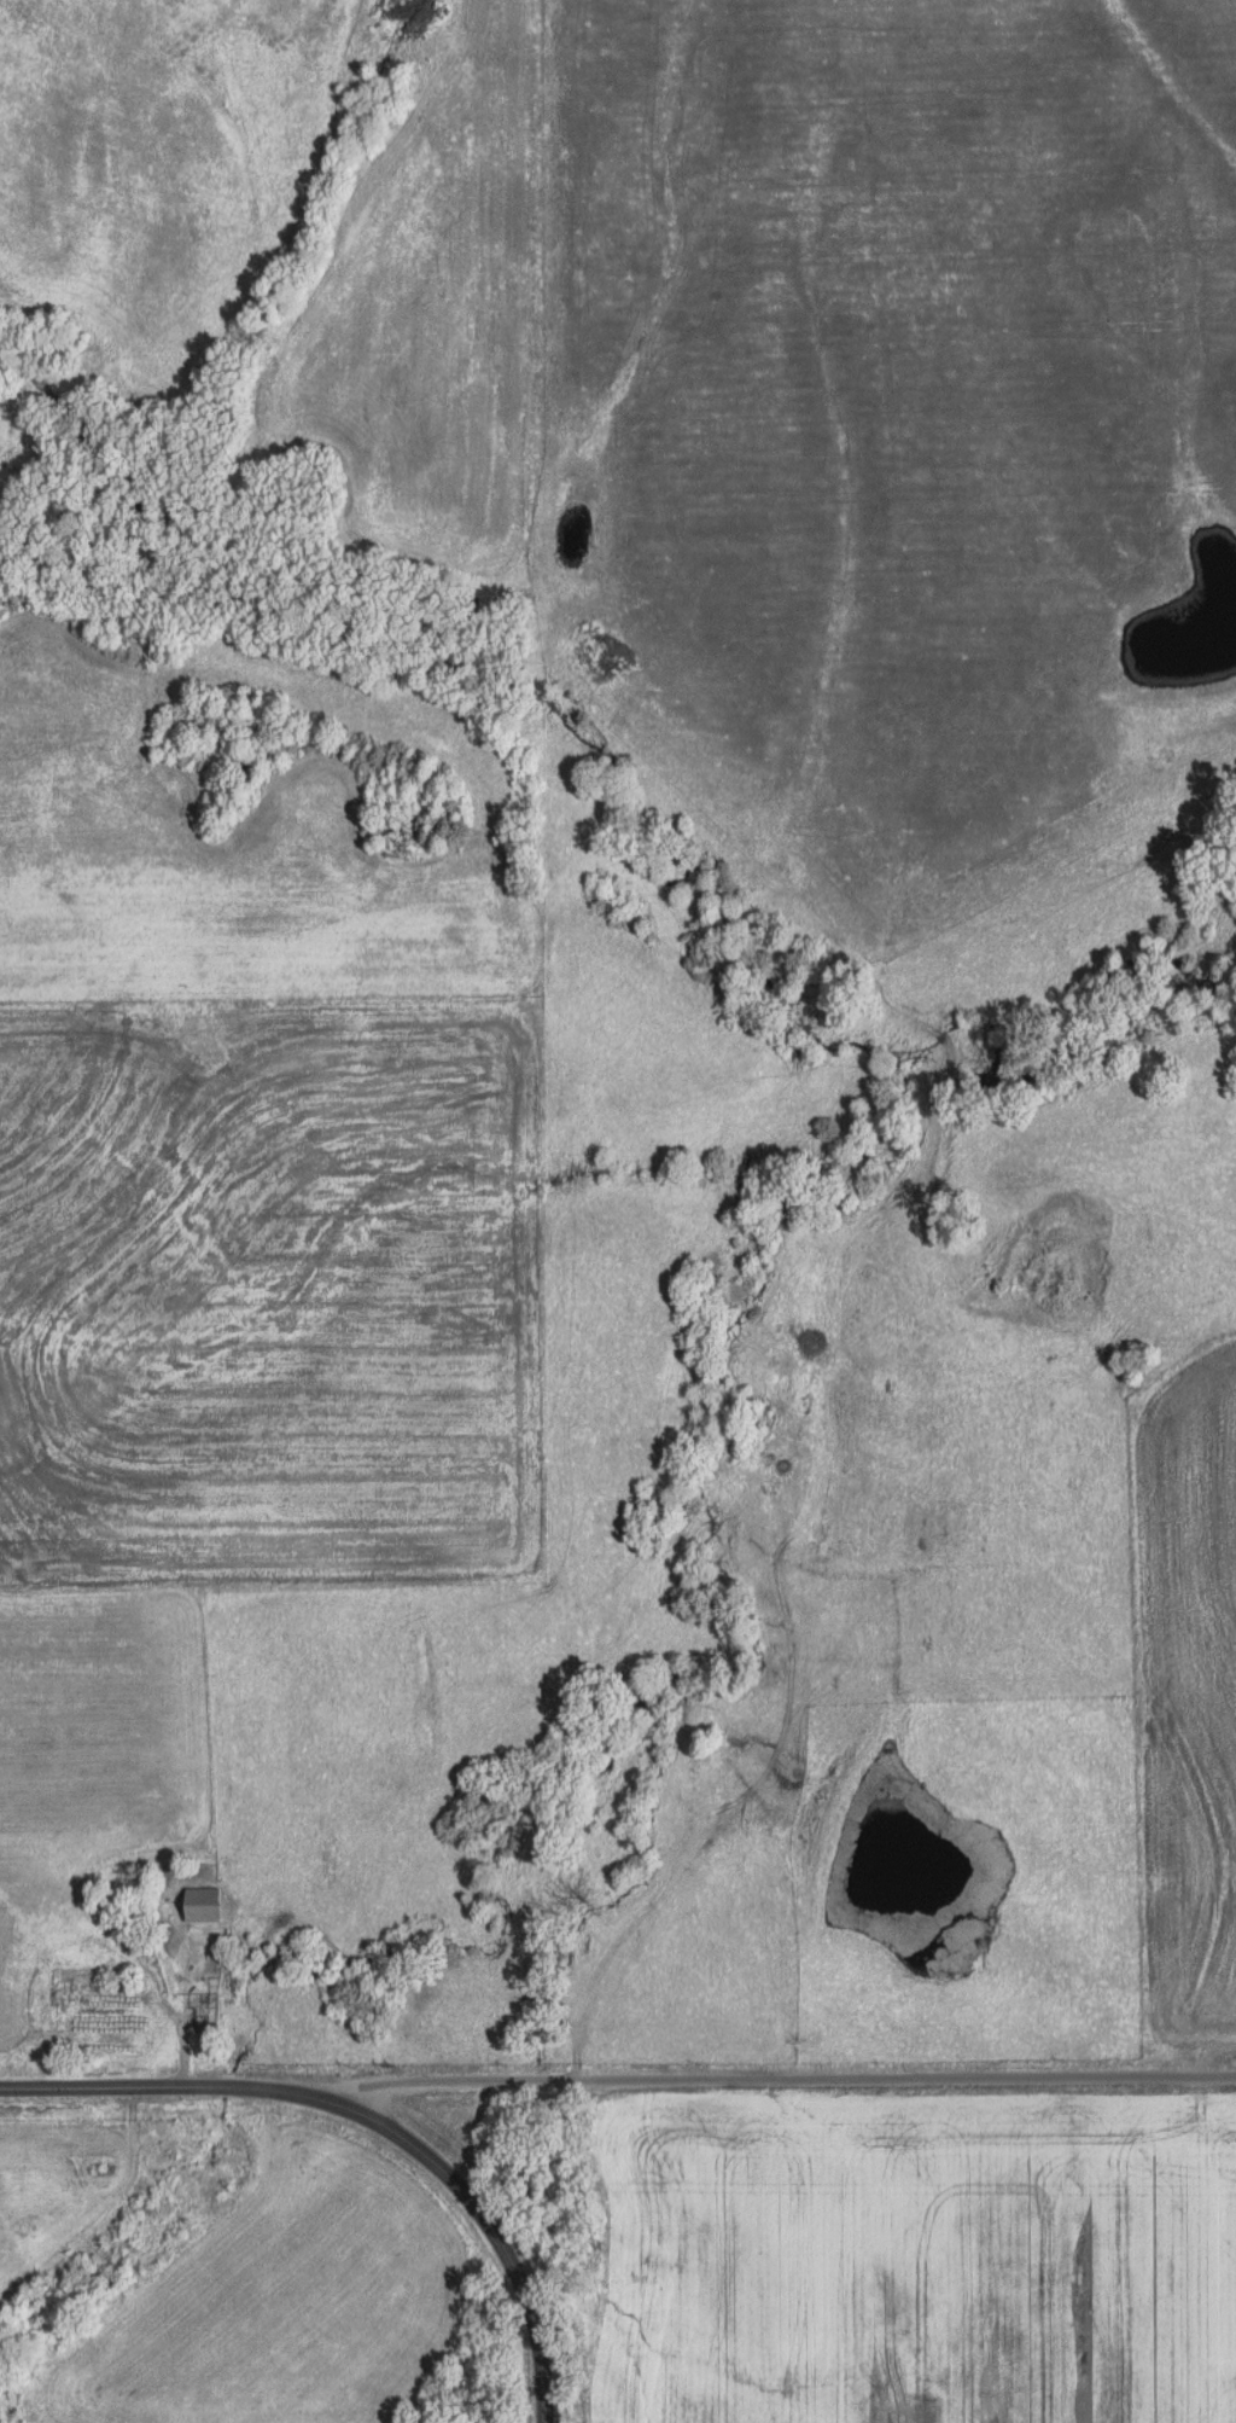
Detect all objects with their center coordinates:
building: (196, 1904)
road: (1207, 2072)
road: (725, 2078)
road: (374, 2113)

